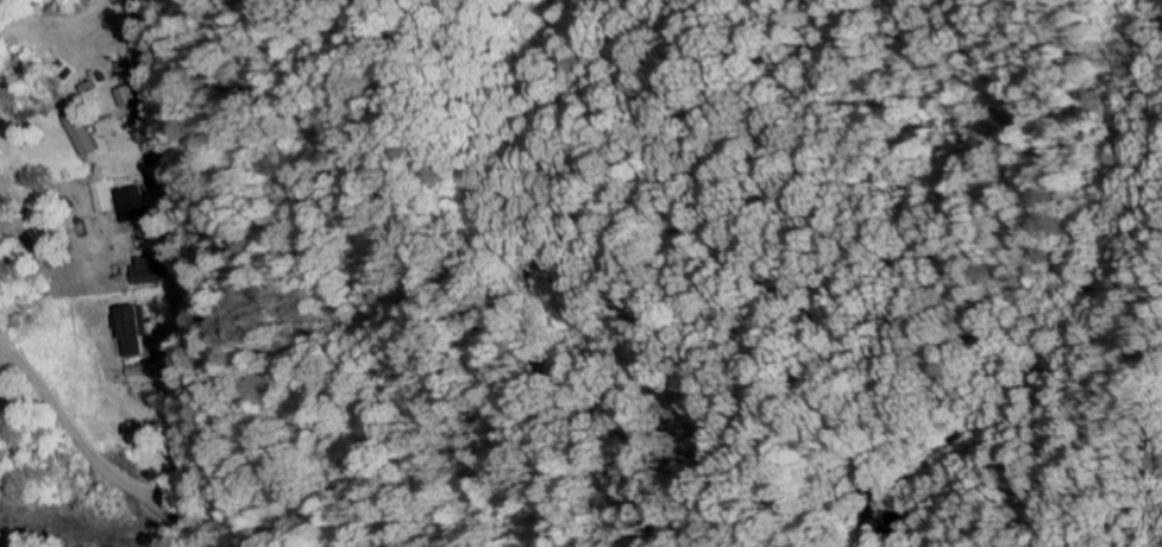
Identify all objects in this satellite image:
building: (131, 98)
building: (82, 134)
building: (124, 203)
building: (152, 270)
road: (244, 278)
building: (136, 332)

